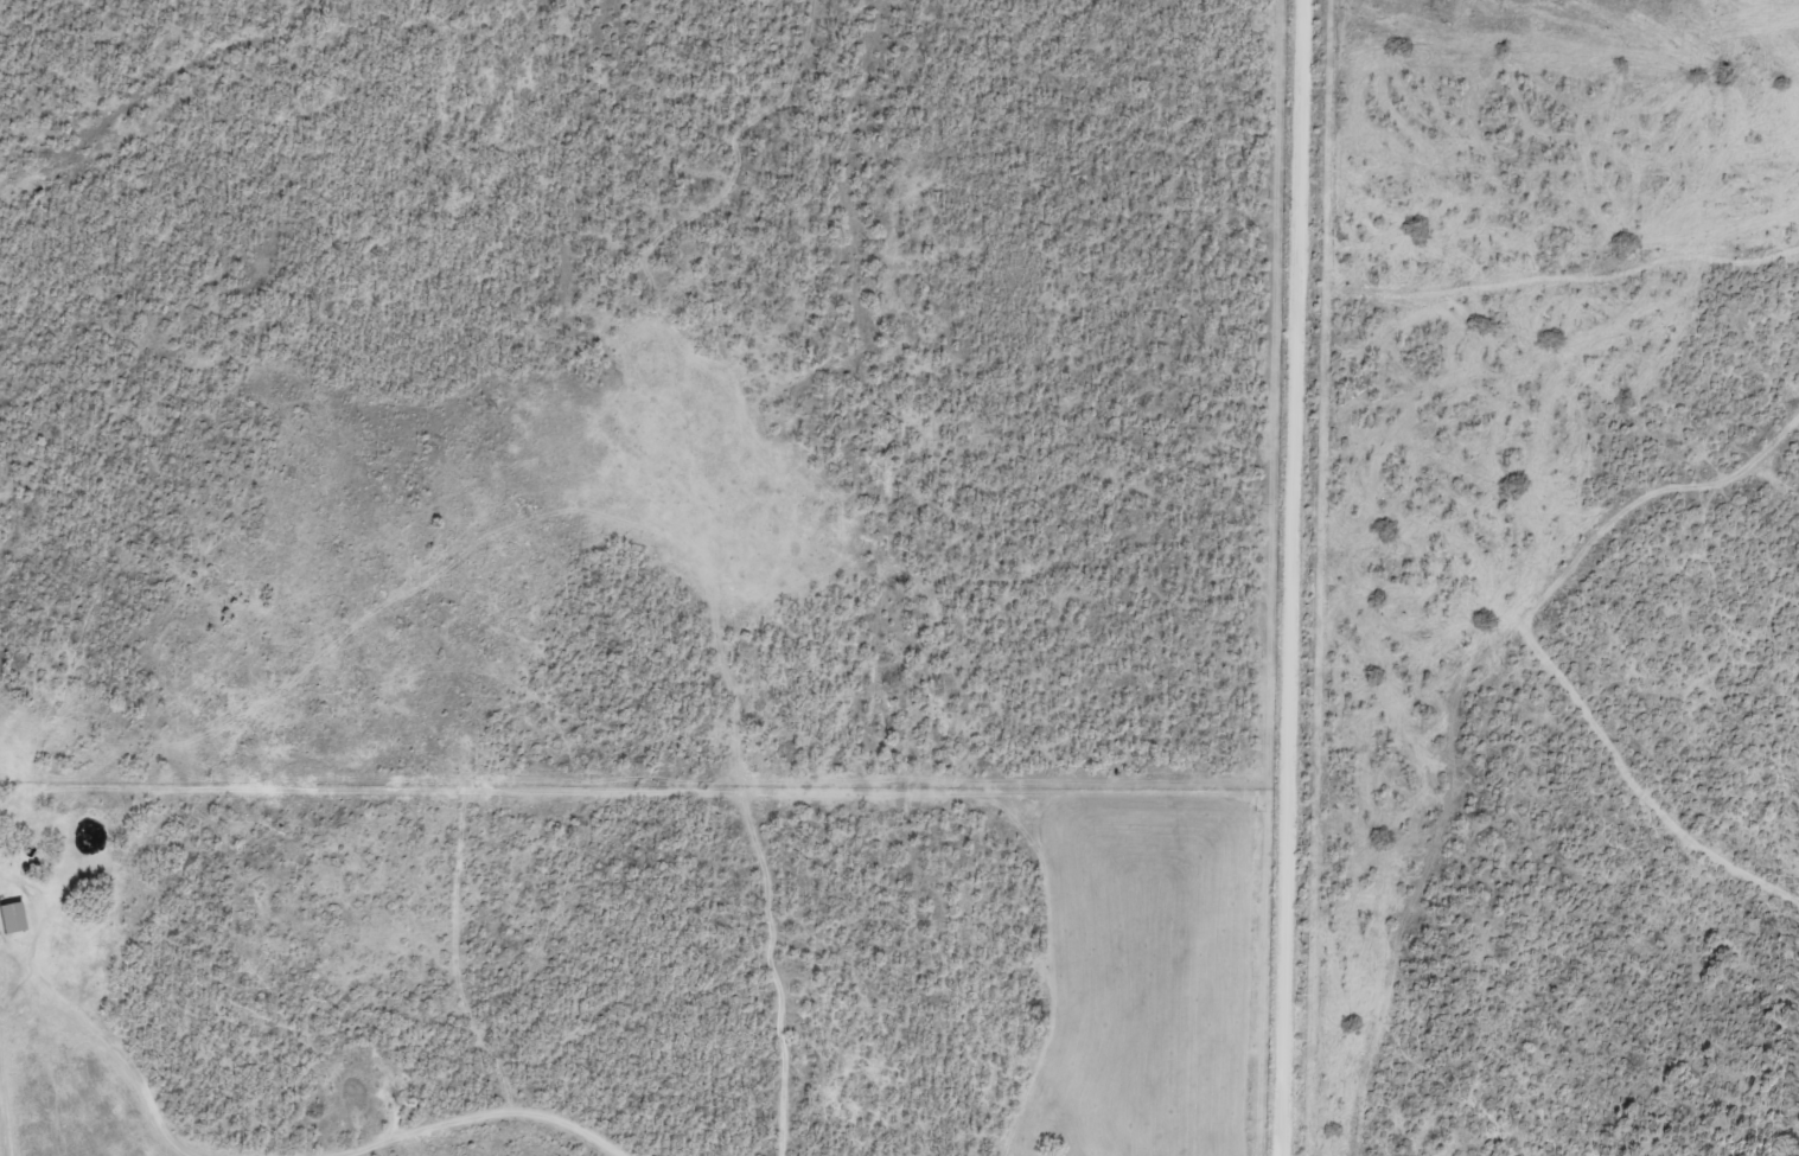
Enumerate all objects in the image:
road: (1293, 577)
building: (12, 918)
road: (152, 1049)
road: (555, 1135)

